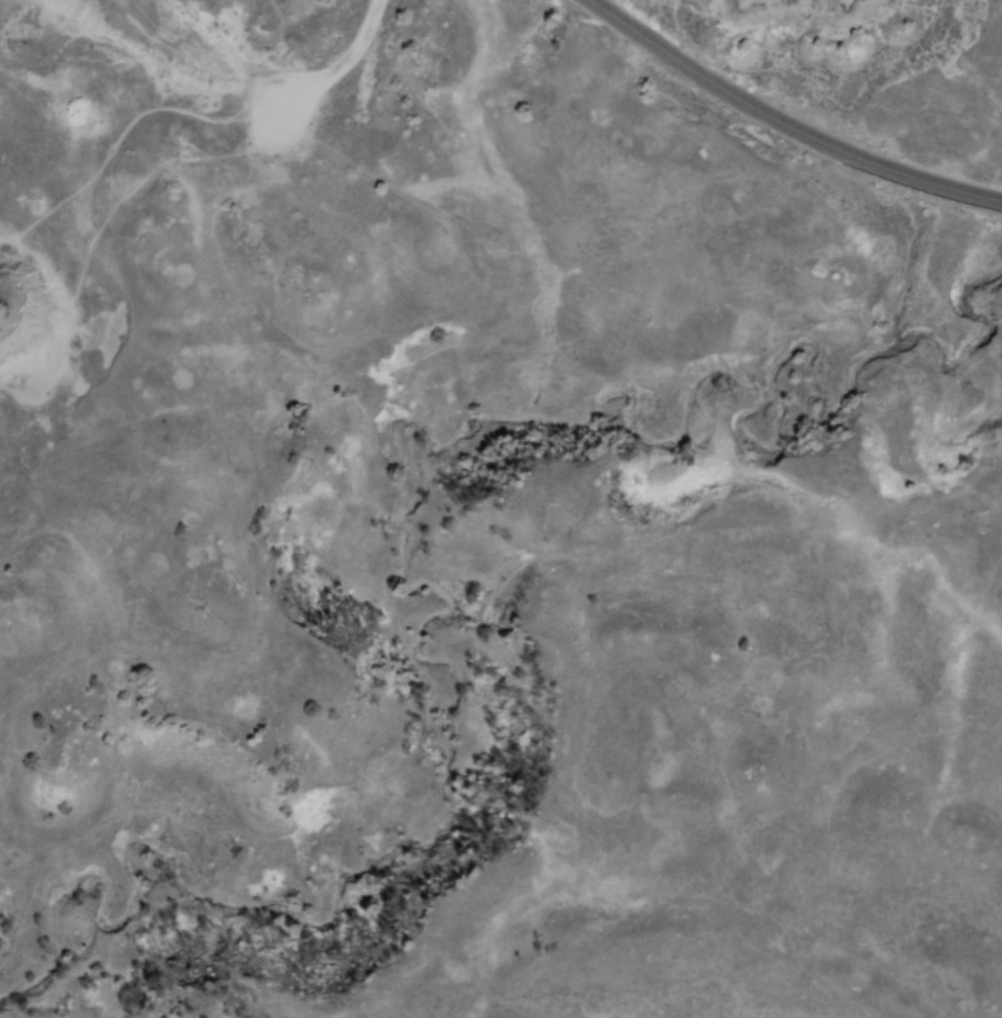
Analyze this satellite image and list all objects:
road: (351, 64)
parking lot: (293, 106)
road: (785, 125)
road: (97, 177)

